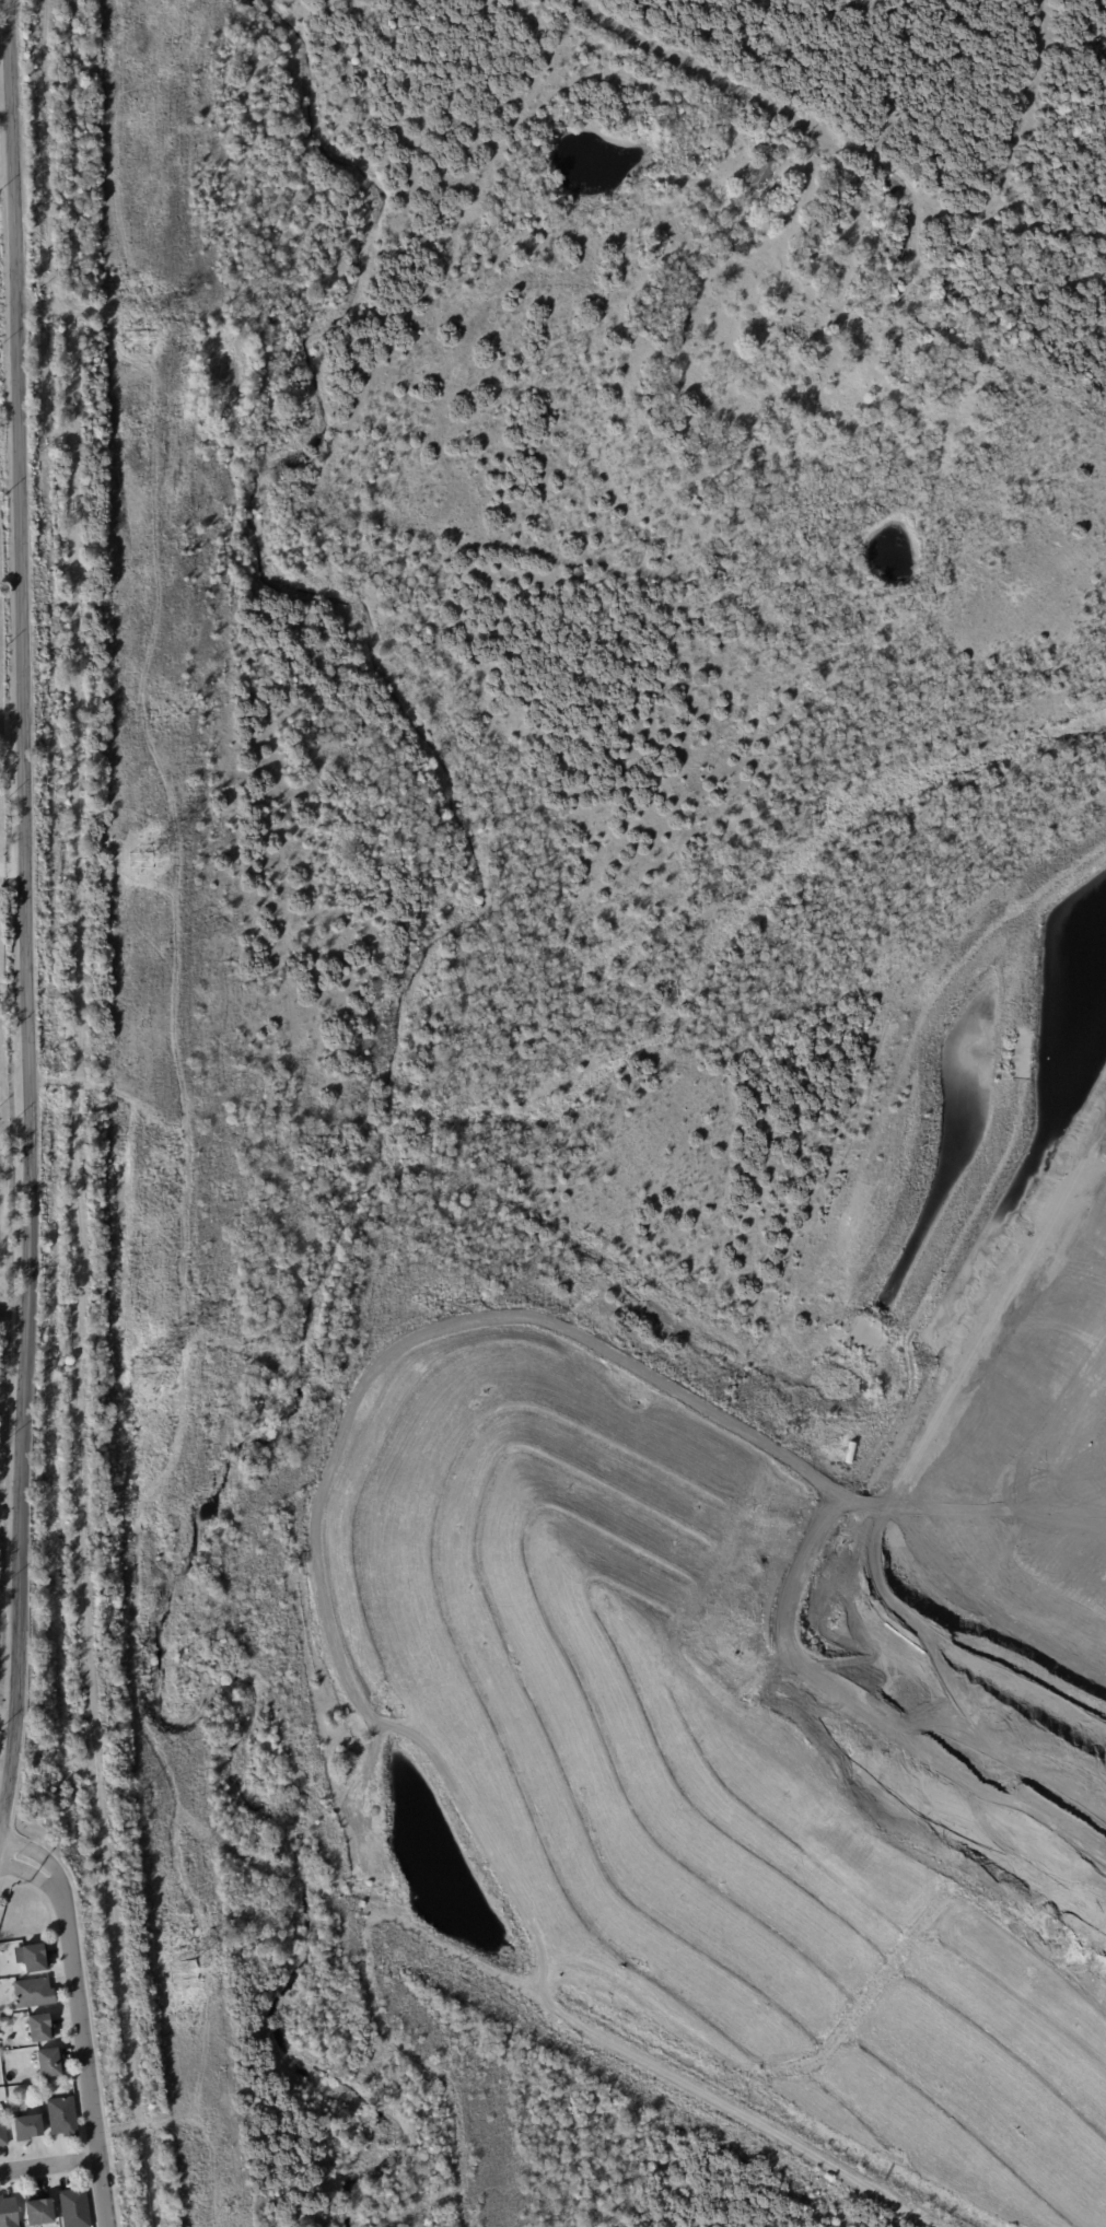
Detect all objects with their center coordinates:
road: (761, 96)
building: (761, 171)
road: (5, 185)
road: (65, 307)
building: (910, 323)
power tower: (140, 337)
building: (938, 398)
building: (717, 571)
power tower: (144, 860)
road: (25, 911)
building: (170, 1193)
road: (12, 1315)
power tower: (150, 1367)
building: (850, 1451)
landfill: (817, 1619)
road: (4, 1768)
road: (22, 1846)
road: (15, 1869)
road: (60, 1888)
building: (32, 1957)
power tower: (189, 1970)
building: (33, 1993)
building: (39, 2026)
road: (84, 2059)
building: (49, 2062)
building: (34, 2087)
building: (754, 2114)
building: (61, 2115)
building: (26, 2127)
building: (2, 2130)
road: (49, 2167)
building: (74, 2206)
building: (38, 2211)
building: (8, 2213)

